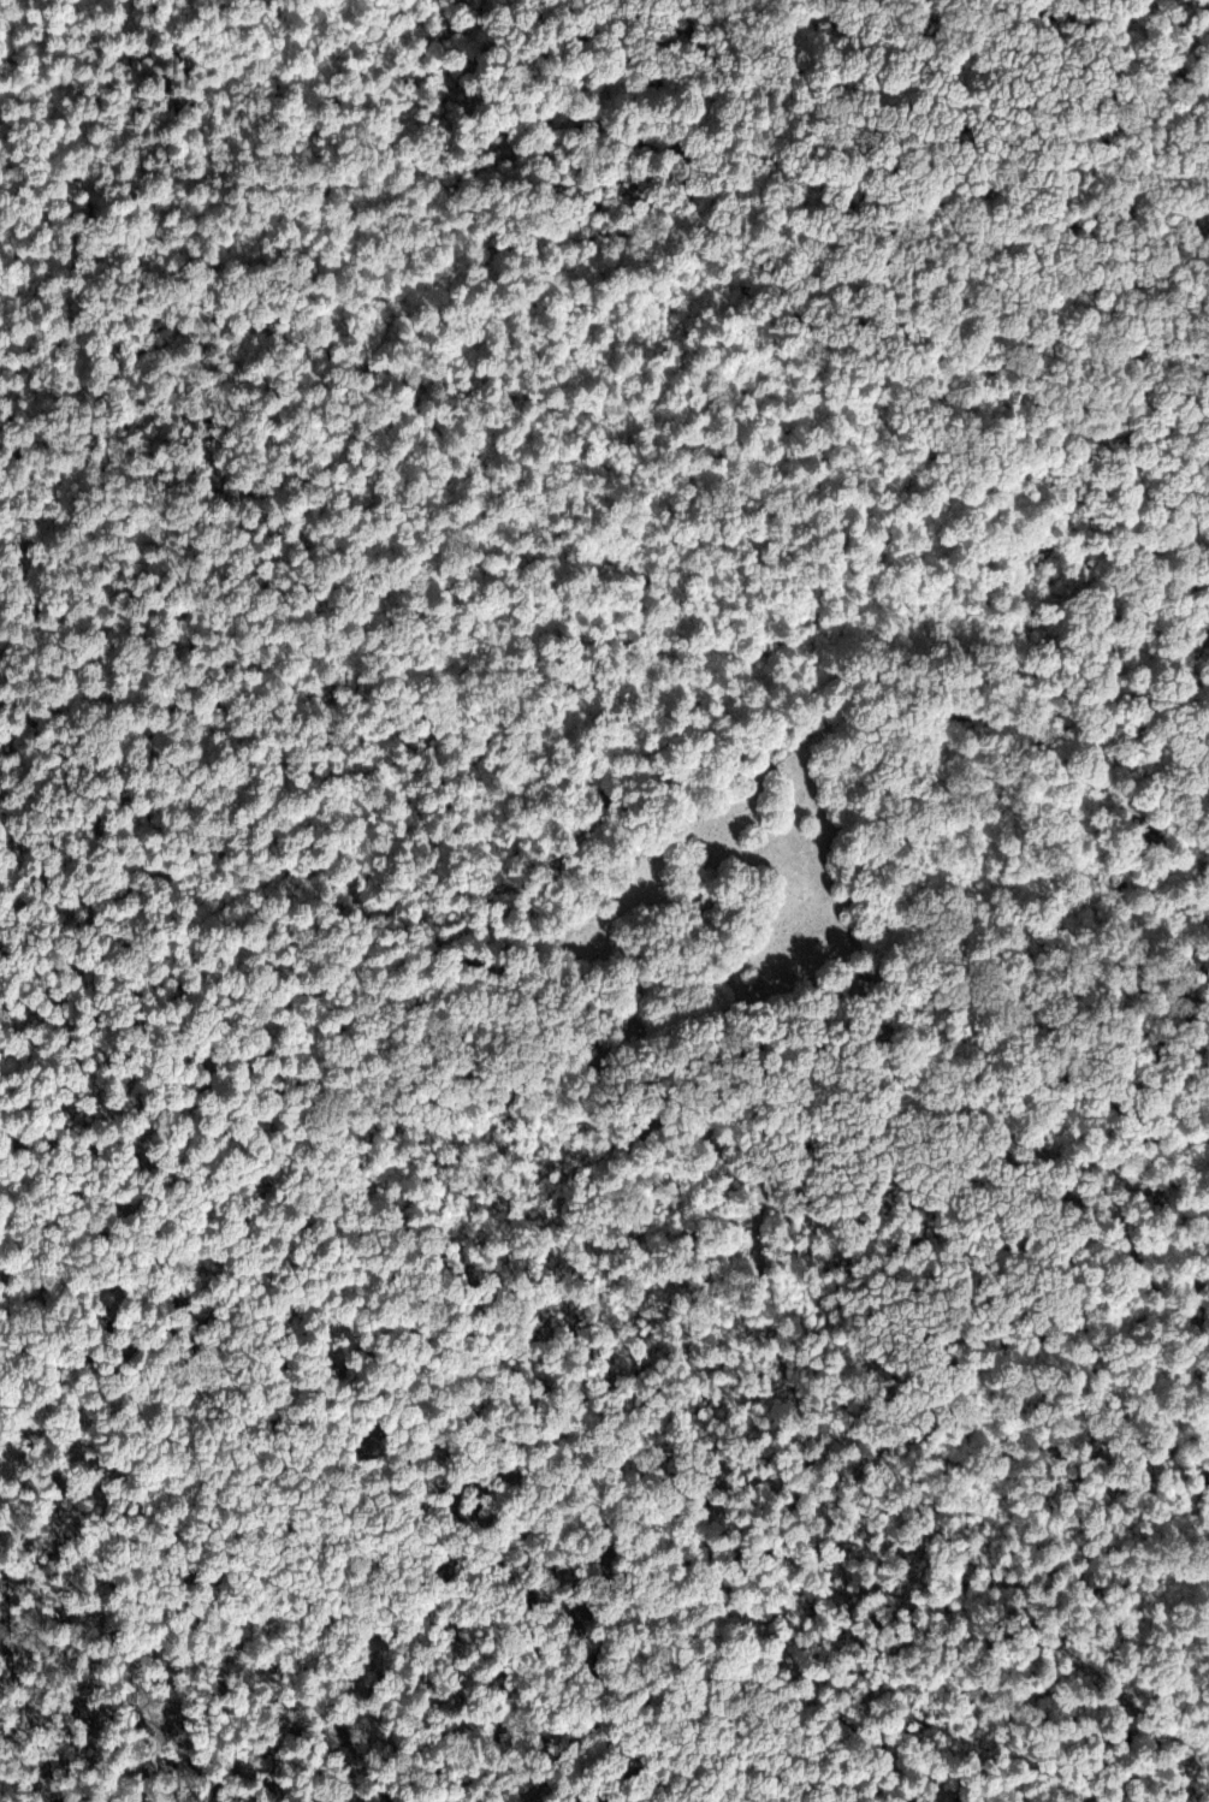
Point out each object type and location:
road: (781, 1382)

